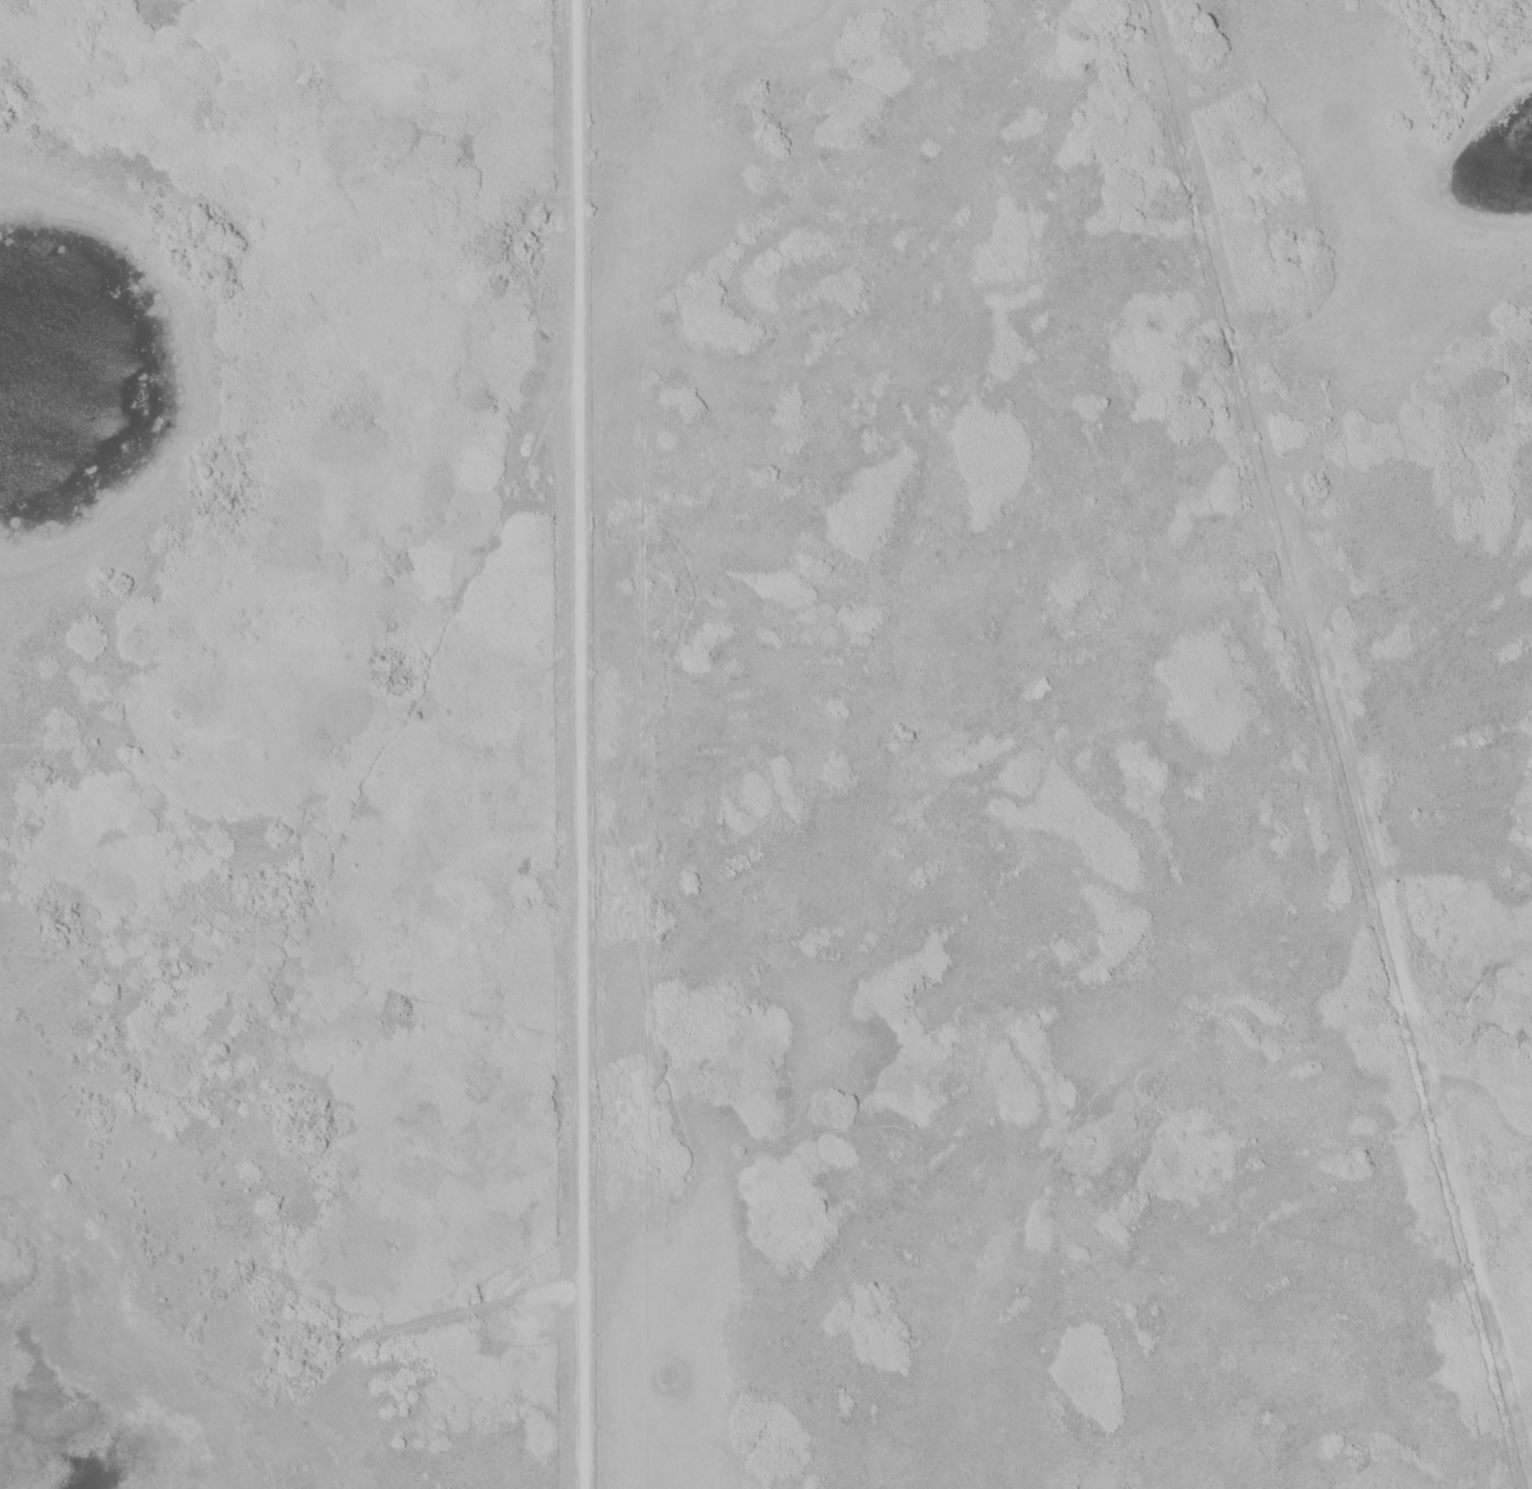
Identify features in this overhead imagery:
road: (566, 744)

